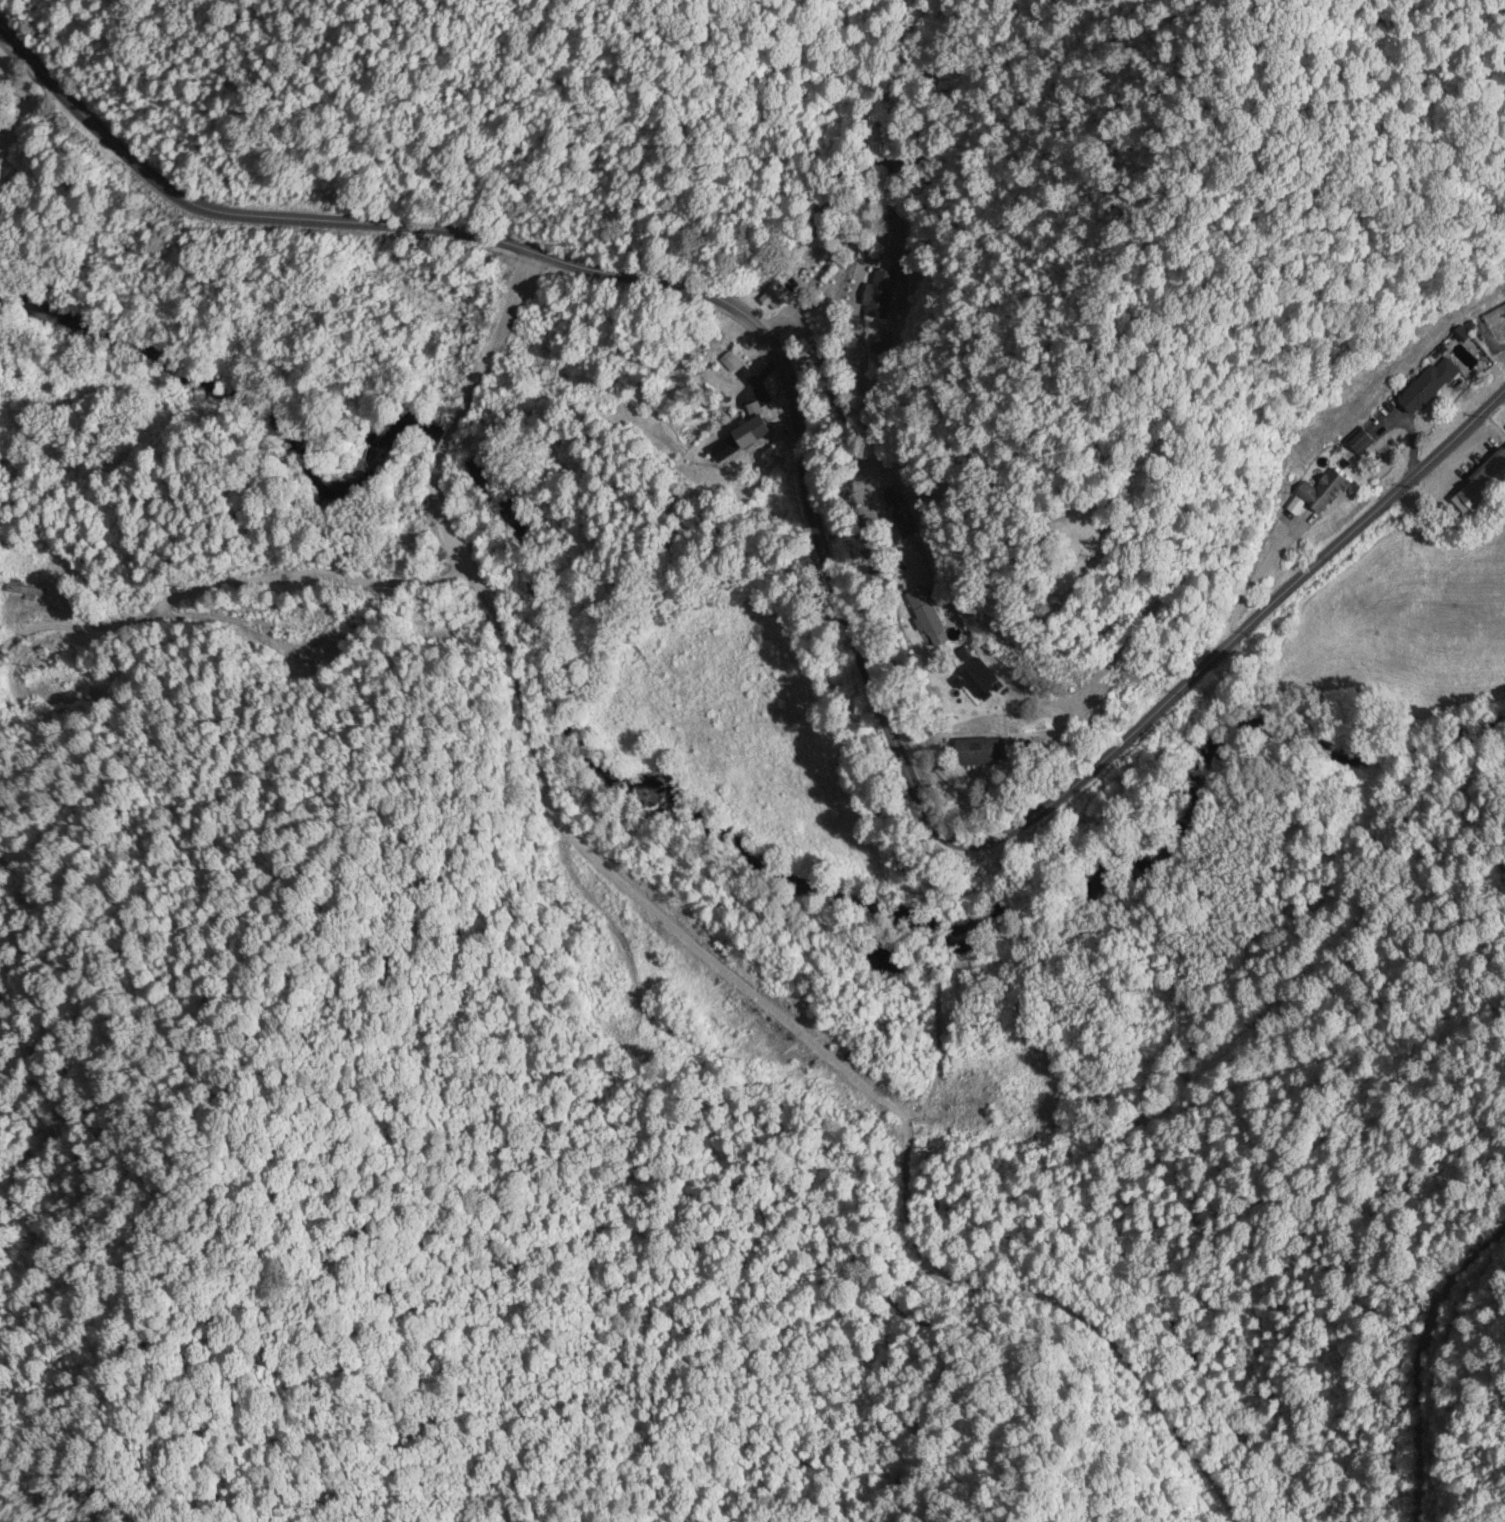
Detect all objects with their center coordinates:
road: (649, 239)
road: (851, 341)
road: (823, 375)
road: (1256, 599)

